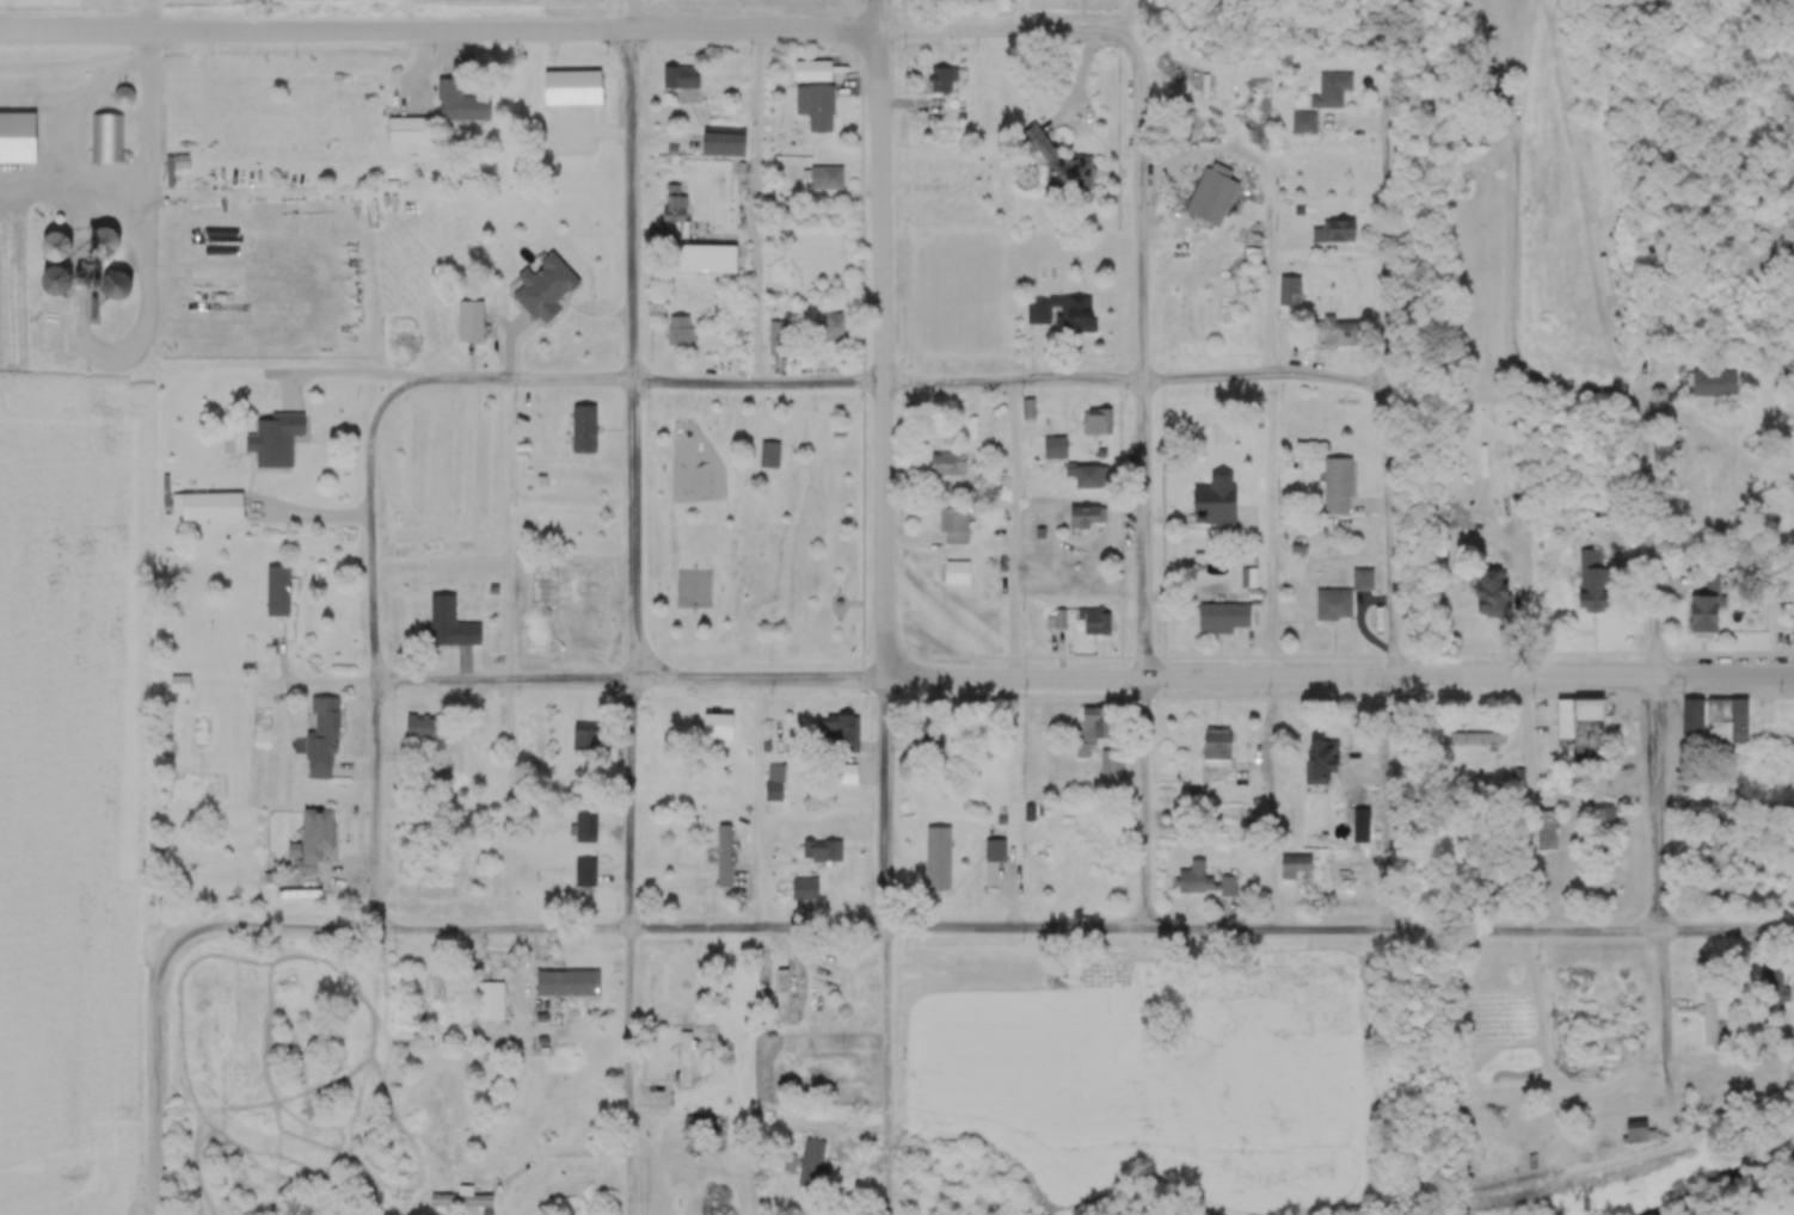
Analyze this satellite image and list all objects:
road: (1138, 13)
road: (623, 16)
road: (1119, 26)
road: (437, 31)
road: (146, 45)
building: (815, 72)
building: (933, 81)
building: (681, 86)
building: (1334, 88)
building: (125, 98)
building: (462, 104)
road: (1360, 106)
building: (817, 107)
building: (1197, 116)
building: (411, 131)
building: (551, 132)
building: (580, 135)
building: (1470, 135)
building: (106, 140)
building: (1036, 141)
building: (711, 143)
road: (1240, 154)
building: (827, 179)
building: (1214, 197)
road: (754, 208)
building: (677, 214)
building: (1344, 232)
building: (107, 241)
building: (62, 248)
road: (1509, 252)
road: (1268, 259)
building: (61, 280)
building: (547, 289)
building: (1291, 291)
building: (1064, 314)
building: (473, 321)
building: (835, 327)
building: (681, 331)
building: (1340, 333)
building: (780, 339)
road: (876, 340)
road: (103, 353)
building: (1715, 383)
road: (785, 384)
road: (1691, 390)
building: (1099, 421)
building: (1204, 433)
building: (577, 437)
building: (1056, 449)
building: (948, 463)
building: (1090, 477)
road: (1137, 477)
road: (214, 487)
building: (1340, 487)
building: (1219, 499)
building: (210, 507)
building: (1086, 519)
building: (957, 520)
park: (751, 530)
road: (1270, 530)
building: (419, 531)
road: (1010, 534)
building: (1708, 536)
road: (1380, 539)
building: (959, 573)
building: (1595, 584)
building: (1495, 592)
building: (281, 603)
building: (1335, 605)
building: (1708, 615)
building: (1227, 618)
building: (1096, 622)
road: (632, 623)
building: (583, 625)
building: (429, 630)
road: (502, 654)
road: (560, 678)
road: (1338, 679)
road: (1646, 727)
building: (680, 729)
building: (842, 730)
building: (1092, 733)
building: (1581, 733)
building: (1722, 738)
building: (431, 739)
building: (324, 740)
building: (1477, 741)
building: (1219, 748)
building: (1323, 761)
building: (1113, 764)
building: (776, 779)
road: (370, 796)
road: (754, 803)
road: (1520, 807)
road: (1720, 809)
building: (1074, 826)
building: (586, 828)
building: (1549, 831)
building: (1363, 833)
building: (319, 835)
building: (1601, 835)
building: (827, 852)
building: (724, 857)
building: (940, 859)
building: (1718, 862)
building: (1296, 866)
building: (1753, 869)
building: (586, 875)
building: (1488, 884)
road: (878, 920)
road: (987, 929)
building: (686, 981)
building: (570, 983)
building: (1773, 983)
building: (785, 998)
building: (425, 1001)
building: (492, 1003)
building: (1712, 1014)
building: (686, 1060)
road: (152, 1071)
building: (1726, 1074)
building: (1640, 1133)
building: (812, 1164)
building: (221, 1168)
building: (584, 1201)
building: (463, 1202)
building: (240, 1211)

